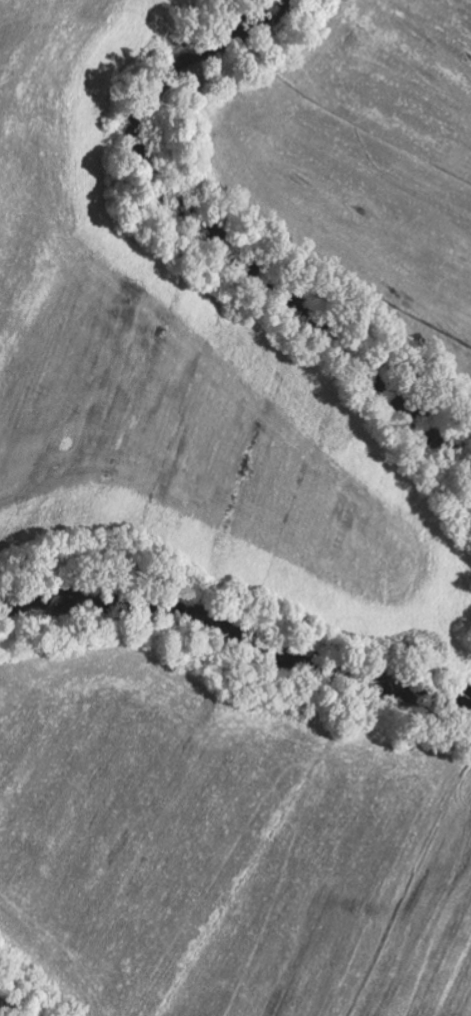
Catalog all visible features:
river: (225, 246)
river: (238, 632)

